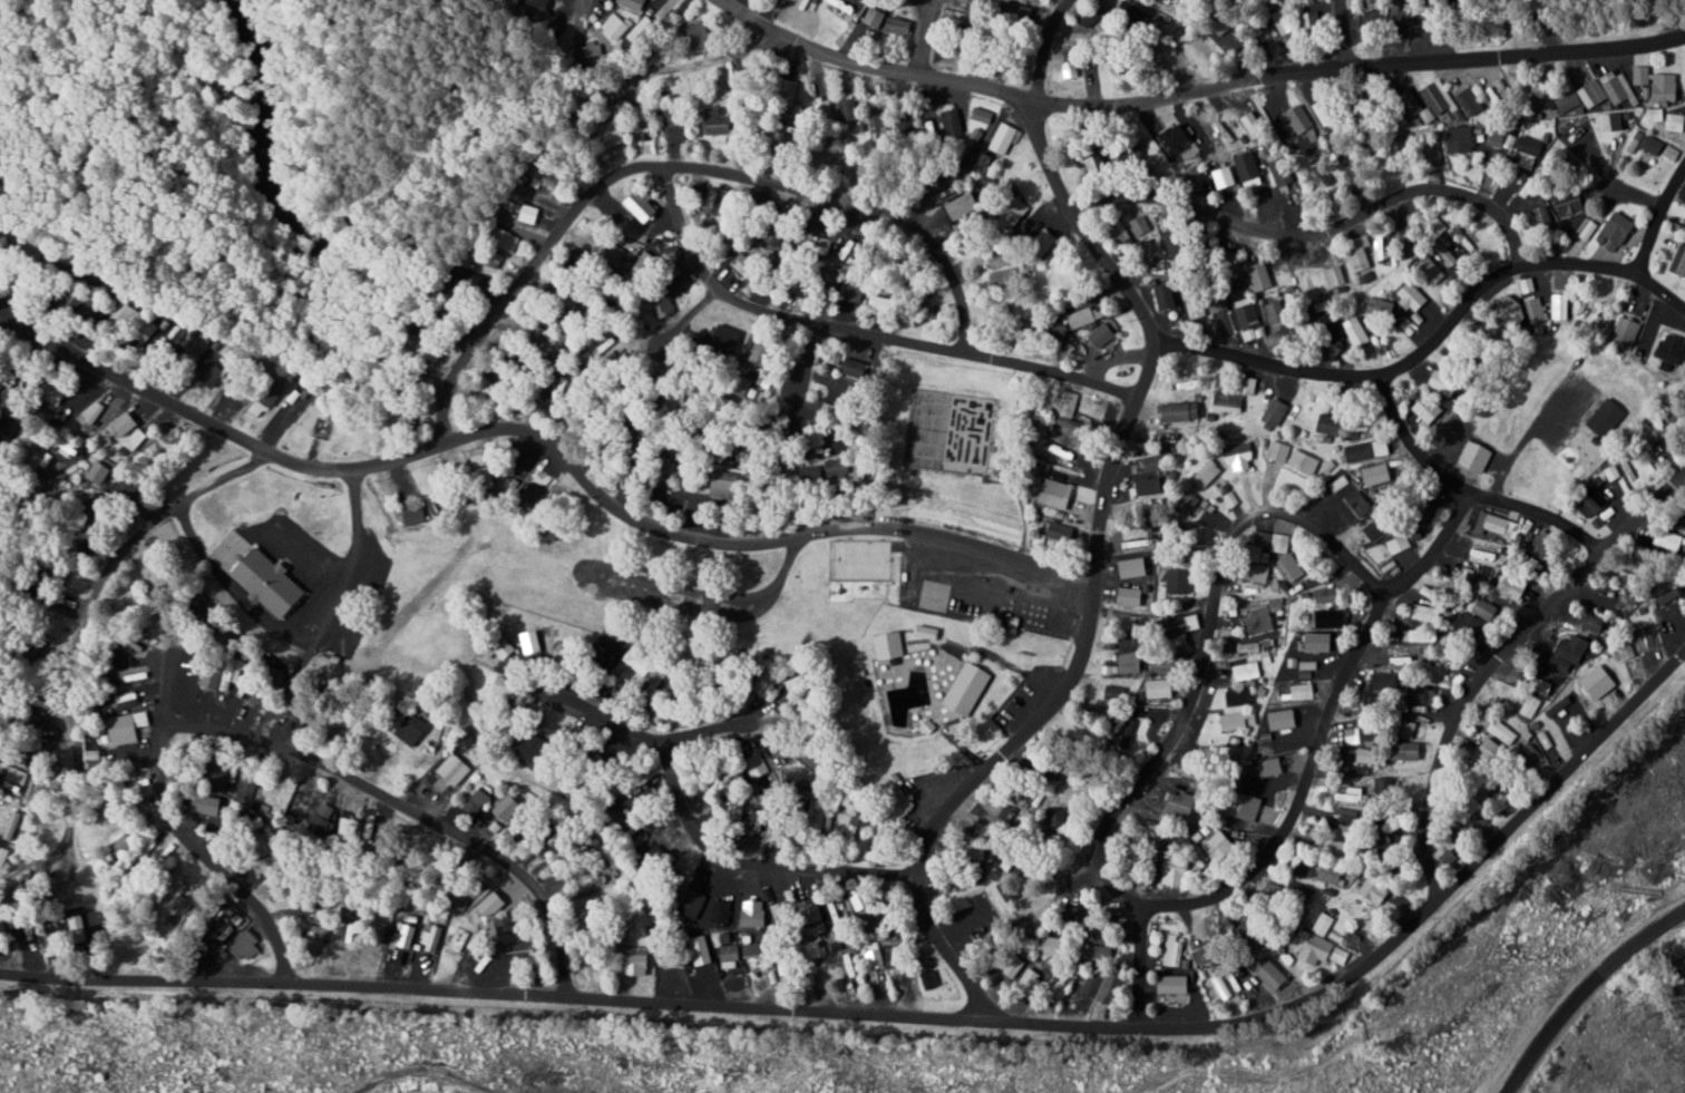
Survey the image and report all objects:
road: (616, 3)
building: (634, 4)
building: (842, 10)
building: (873, 17)
building: (1090, 18)
building: (1372, 18)
building: (949, 20)
building: (1314, 21)
building: (1278, 25)
building: (614, 26)
building: (899, 27)
building: (642, 30)
building: (695, 36)
road: (877, 37)
road: (1040, 55)
building: (1070, 69)
building: (1640, 75)
building: (788, 86)
building: (1616, 87)
building: (1664, 87)
building: (1684, 91)
road: (1191, 92)
building: (1591, 94)
building: (1447, 101)
building: (1568, 101)
building: (846, 109)
building: (1324, 109)
building: (1654, 115)
building: (982, 116)
building: (1295, 121)
building: (1675, 121)
building: (718, 123)
building: (876, 123)
building: (947, 123)
building: (1613, 124)
building: (1254, 125)
building: (1003, 138)
building: (1460, 139)
building: (1494, 140)
building: (1650, 144)
building: (1669, 153)
building: (1526, 160)
road: (672, 164)
building: (1099, 166)
building: (1245, 166)
building: (1283, 174)
road: (1652, 182)
road: (1663, 205)
building: (643, 206)
building: (1571, 207)
building: (530, 214)
building: (1542, 216)
building: (1140, 226)
building: (1619, 227)
building: (1589, 228)
road: (1319, 230)
building: (768, 235)
building: (1173, 237)
building: (509, 241)
building: (1379, 247)
building: (622, 253)
building: (1448, 257)
building: (1679, 261)
building: (743, 265)
building: (1431, 271)
building: (1004, 275)
building: (1333, 275)
building: (1260, 276)
road: (1660, 280)
building: (1314, 283)
building: (1526, 285)
building: (1167, 296)
building: (1411, 296)
building: (885, 304)
road: (681, 306)
building: (1380, 306)
building: (1559, 306)
building: (1275, 312)
building: (1525, 313)
building: (1084, 316)
building: (1248, 322)
building: (438, 324)
building: (1627, 330)
building: (1357, 331)
road: (855, 333)
building: (1104, 333)
building: (725, 336)
building: (1673, 348)
road: (785, 351)
building: (759, 352)
road: (1420, 360)
building: (856, 367)
building: (212, 372)
building: (1443, 382)
building: (1246, 383)
building: (559, 388)
building: (267, 394)
building: (1068, 402)
building: (1226, 402)
building: (1428, 410)
building: (1180, 411)
building: (1275, 411)
building: (1606, 416)
building: (126, 423)
building: (1331, 423)
building: (11, 428)
building: (816, 431)
building: (134, 438)
road: (549, 441)
building: (1243, 450)
building: (1277, 450)
building: (1369, 450)
building: (749, 453)
building: (1061, 453)
building: (1477, 455)
building: (1303, 460)
building: (1152, 462)
building: (480, 463)
building: (836, 466)
building: (98, 471)
building: (1205, 474)
building: (1377, 474)
building: (1620, 475)
building: (1338, 482)
road: (1467, 484)
building: (1149, 485)
building: (725, 486)
building: (1058, 492)
building: (1189, 500)
building: (1591, 502)
road: (21, 513)
building: (413, 515)
building: (1500, 525)
building: (1060, 530)
building: (1387, 533)
building: (1668, 538)
building: (1278, 541)
building: (1541, 543)
building: (1133, 567)
building: (1288, 567)
building: (1254, 572)
building: (270, 580)
building: (1179, 580)
building: (1630, 580)
building: (1508, 584)
road: (94, 585)
road: (1098, 585)
building: (866, 589)
building: (1326, 594)
building: (1131, 595)
building: (1677, 607)
building: (1484, 608)
building: (1422, 613)
building: (264, 615)
building: (1663, 615)
building: (1260, 618)
building: (1194, 621)
building: (1596, 622)
building: (1330, 624)
building: (1471, 624)
building: (927, 632)
building: (1418, 635)
building: (1644, 636)
building: (1318, 637)
building: (1130, 641)
building: (889, 644)
road: (1199, 646)
building: (505, 647)
building: (1627, 651)
road: (1501, 652)
building: (1569, 652)
building: (736, 657)
building: (1129, 662)
building: (1244, 671)
building: (211, 674)
building: (1389, 675)
building: (1599, 680)
building: (799, 683)
building: (508, 686)
building: (968, 686)
building: (1160, 687)
building: (1298, 691)
building: (1426, 695)
building: (1238, 697)
building: (1557, 706)
building: (1283, 719)
building: (1237, 721)
road: (1321, 725)
building: (125, 726)
building: (415, 728)
building: (1367, 730)
building: (1501, 732)
building: (1542, 740)
building: (534, 746)
building: (1408, 751)
building: (1491, 754)
building: (822, 765)
building: (1273, 765)
building: (451, 769)
building: (763, 777)
building: (14, 778)
building: (1384, 788)
building: (1072, 791)
building: (1351, 794)
building: (478, 799)
building: (1185, 802)
building: (1247, 806)
road: (407, 808)
building: (210, 809)
building: (503, 811)
building: (1344, 816)
building: (1007, 817)
building: (324, 819)
building: (12, 824)
building: (884, 836)
road: (699, 842)
building: (123, 843)
building: (1219, 847)
road: (210, 850)
building: (1450, 859)
building: (274, 862)
building: (1176, 871)
road: (1085, 872)
building: (1331, 875)
building: (1191, 879)
building: (1009, 889)
building: (1374, 890)
building: (493, 902)
building: (978, 904)
building: (721, 910)
building: (783, 911)
building: (834, 916)
building: (753, 918)
building: (192, 921)
building: (315, 926)
building: (349, 926)
building: (407, 935)
building: (431, 937)
building: (459, 937)
building: (245, 943)
building: (1324, 944)
building: (749, 946)
building: (1056, 946)
building: (523, 949)
building: (816, 949)
building: (701, 950)
building: (1172, 950)
building: (1101, 953)
building: (1204, 953)
building: (729, 956)
building: (841, 957)
building: (882, 959)
building: (637, 962)
building: (785, 964)
road: (1138, 966)
building: (1275, 976)
building: (931, 978)
building: (1030, 983)
building: (1176, 984)
building: (1103, 985)
building: (1221, 987)
road: (1584, 989)
road: (915, 1017)

